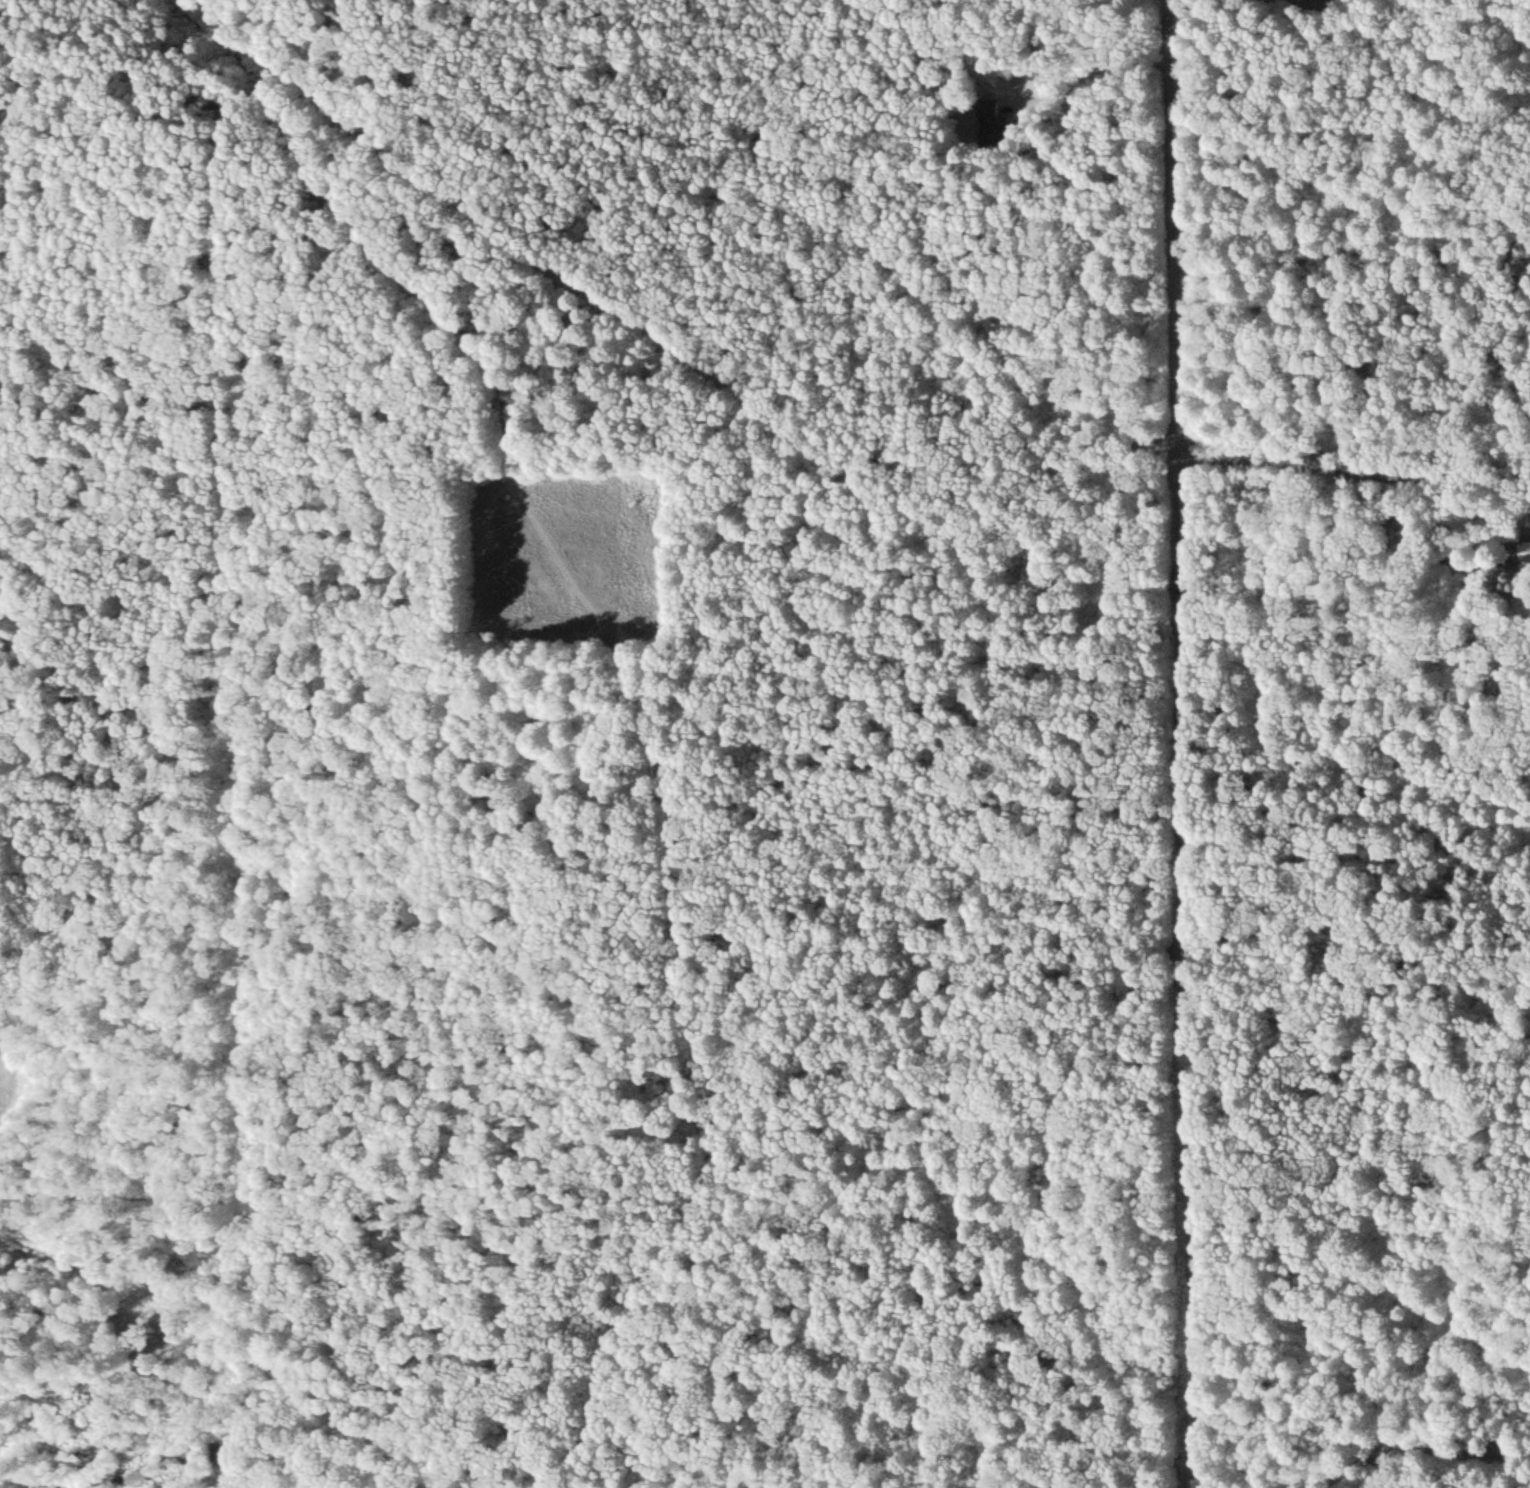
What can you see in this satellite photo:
road: (1359, 464)
petroleum well: (576, 540)
building: (1529, 550)
road: (650, 707)
road: (1183, 778)
road: (1421, 1448)

